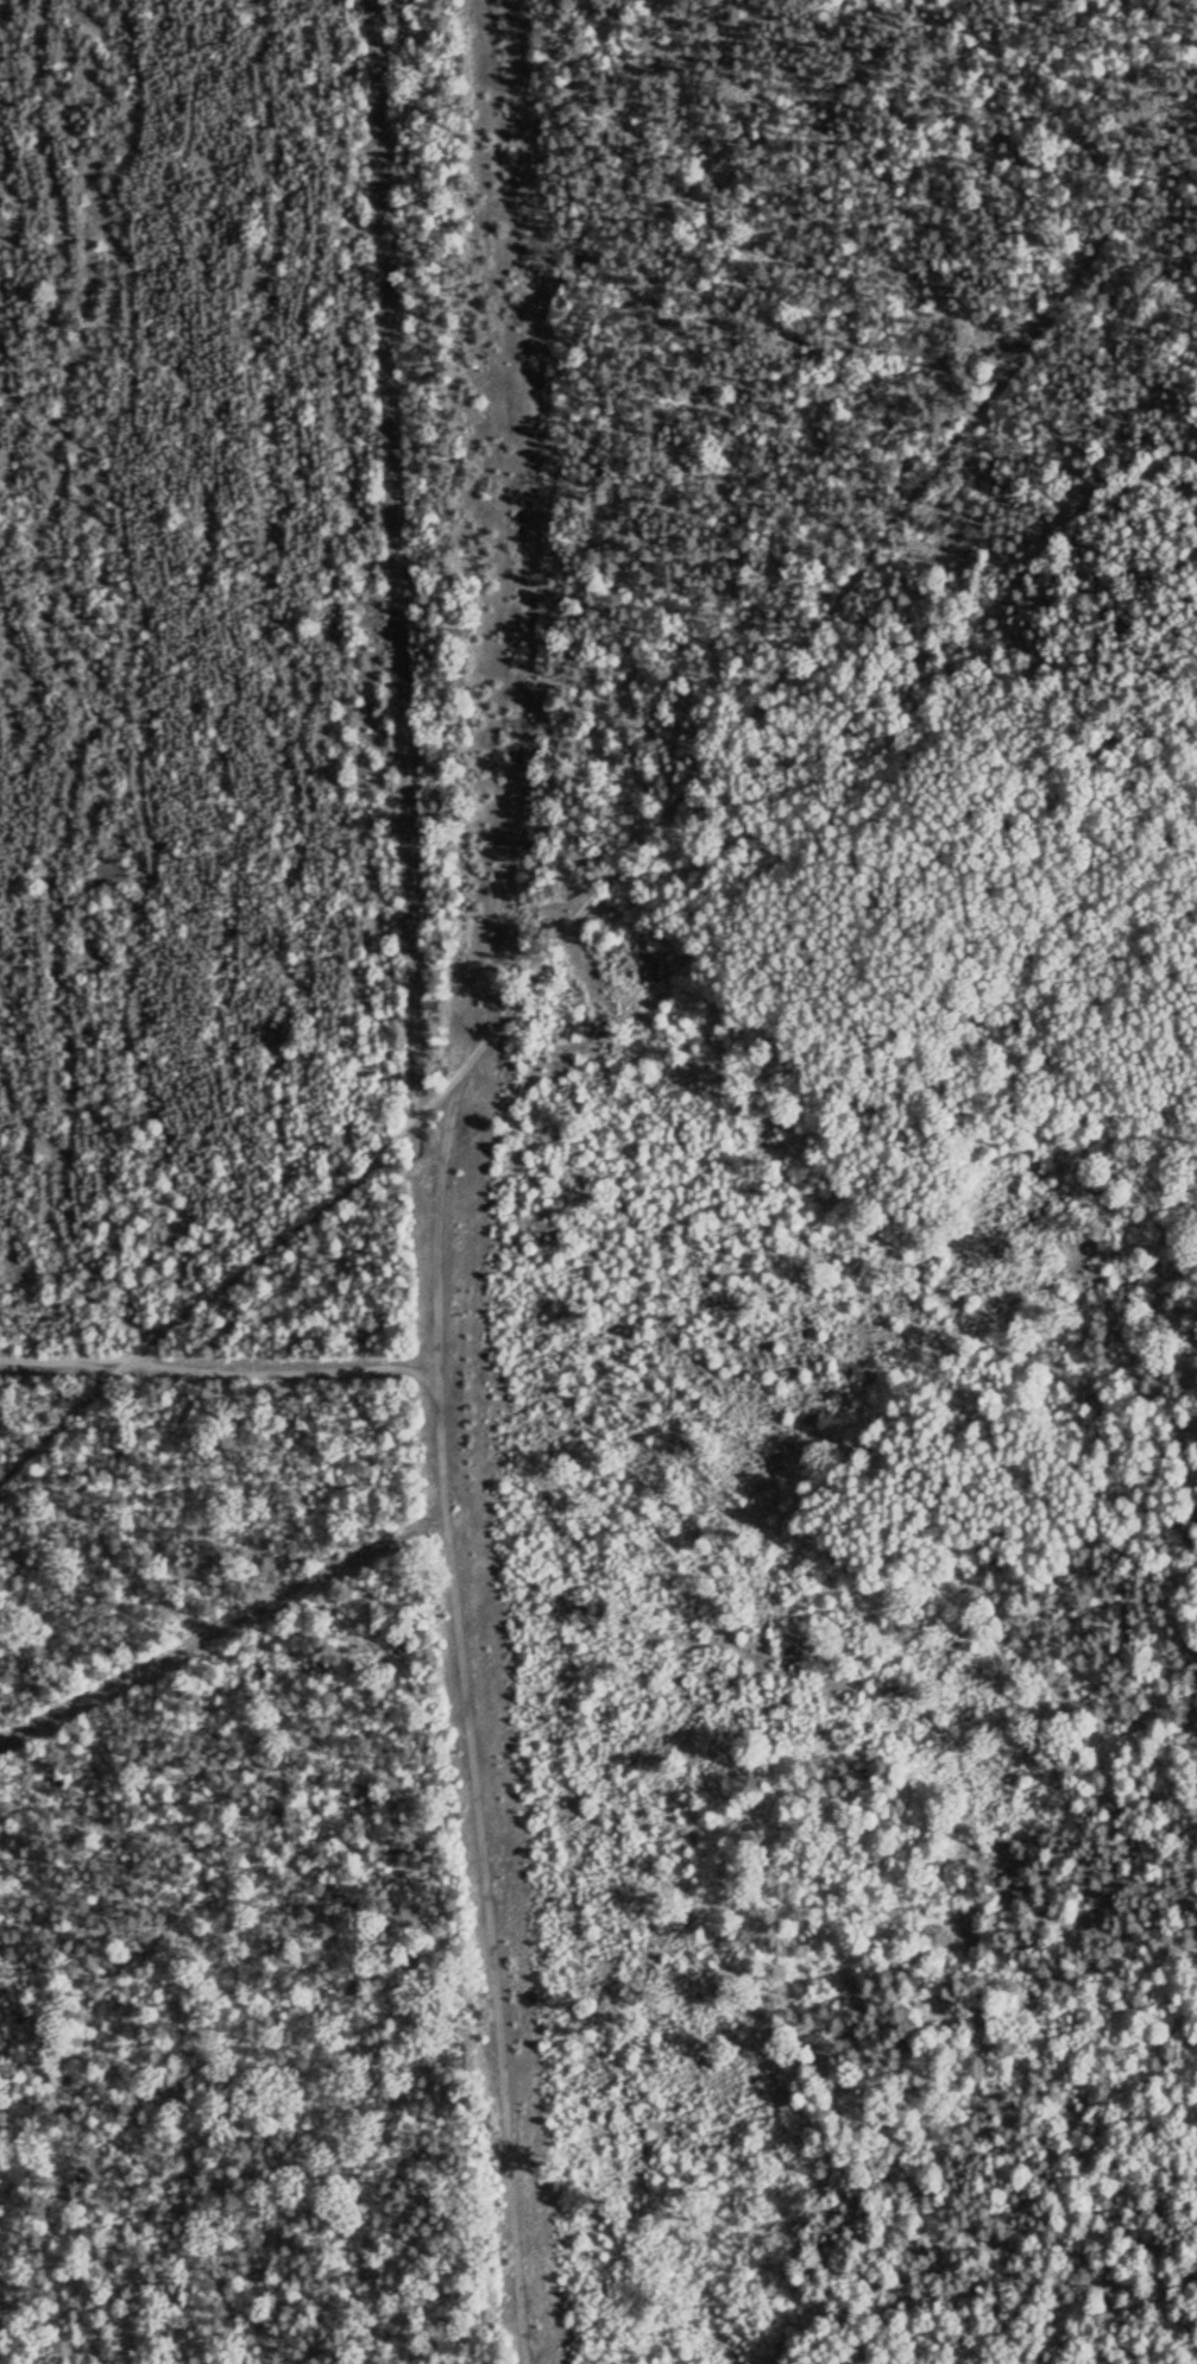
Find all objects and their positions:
road: (531, 522)
road: (401, 559)
road: (824, 623)
road: (278, 1243)
road: (65, 1356)
road: (65, 1419)
road: (468, 1719)
road: (1079, 1906)

